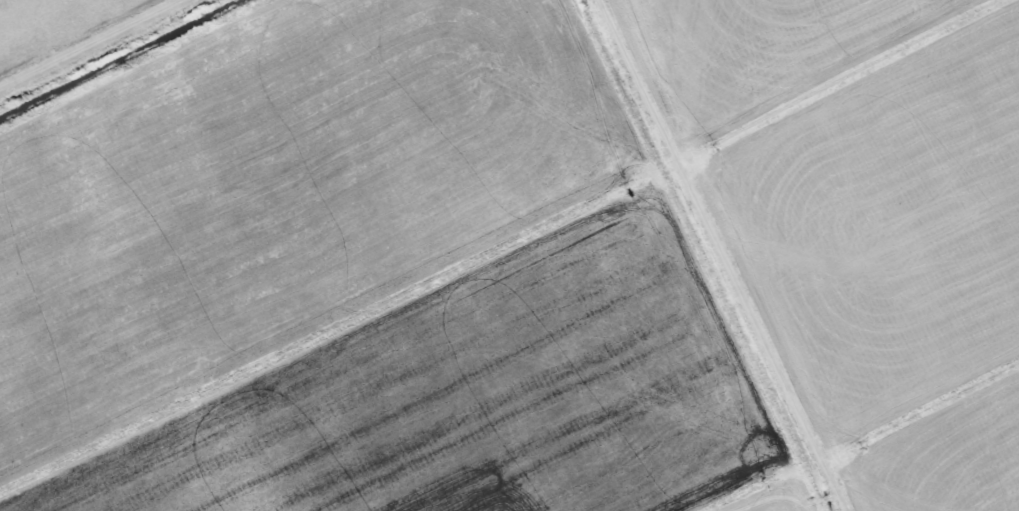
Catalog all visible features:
road: (90, 44)

